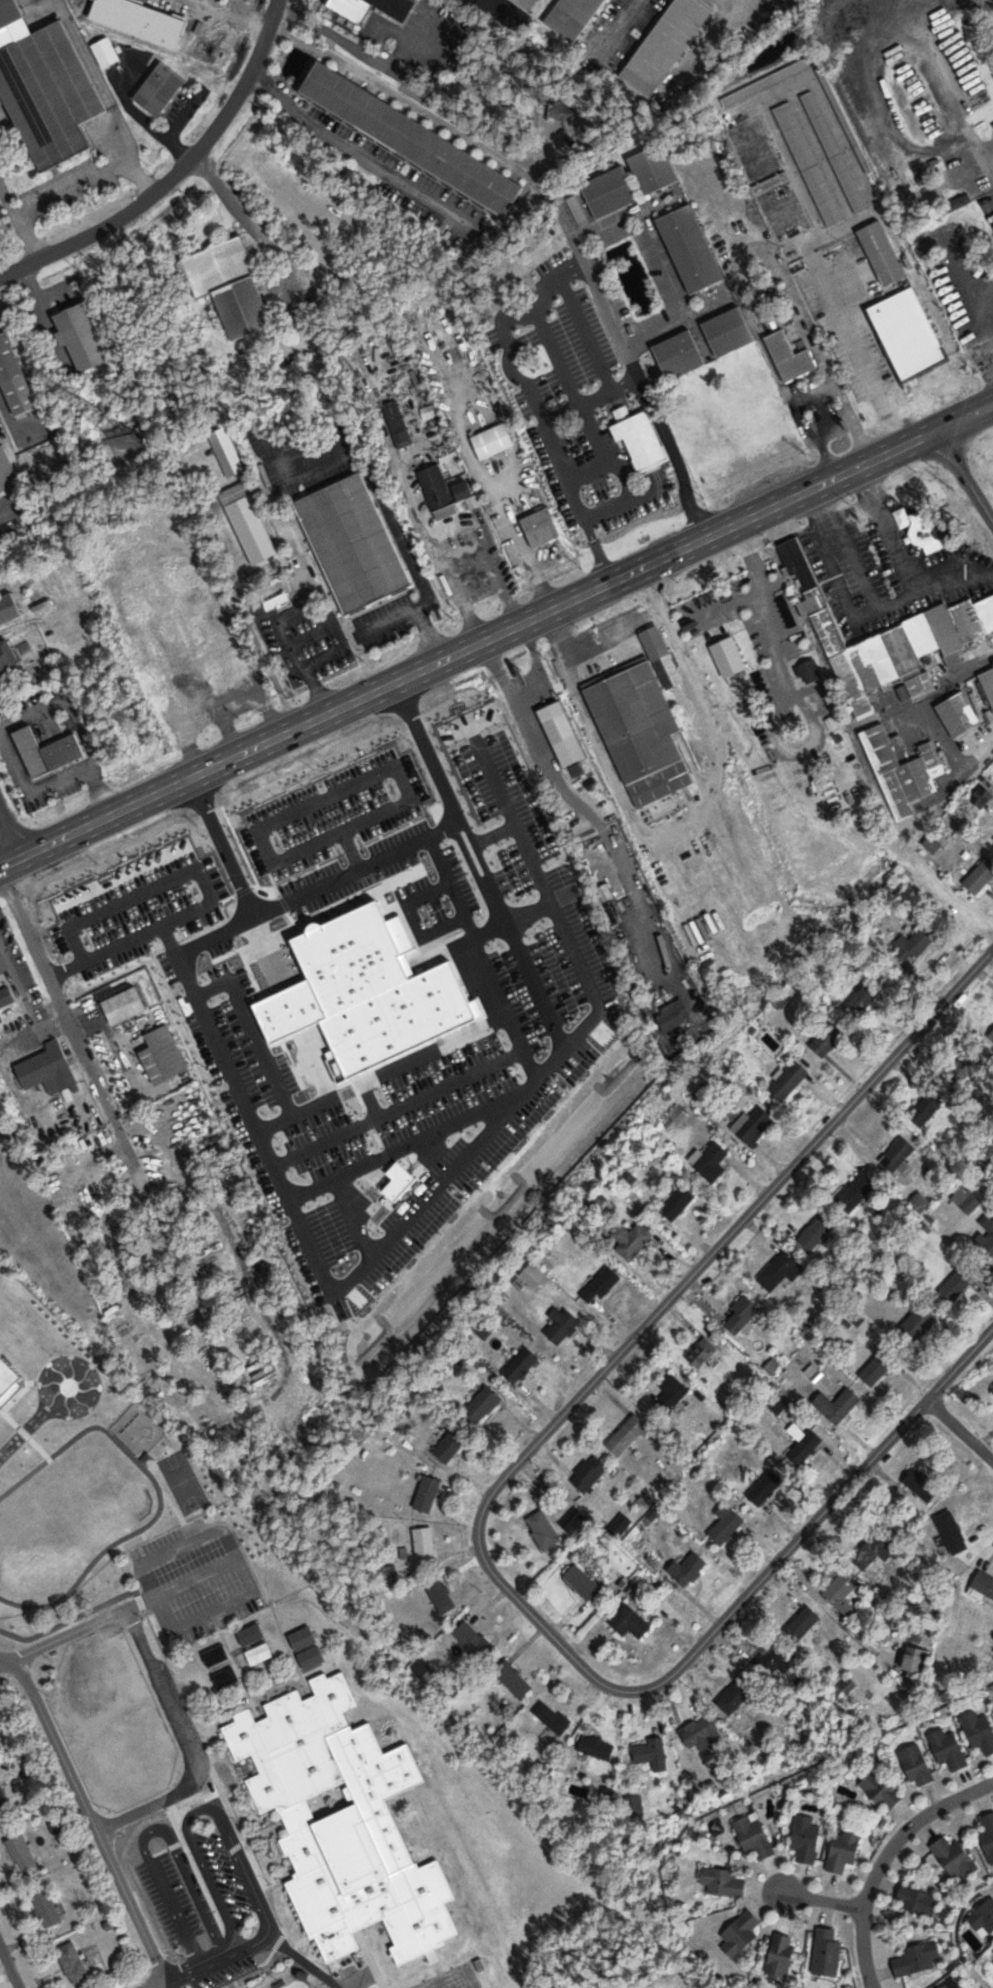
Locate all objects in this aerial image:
building: (522, 3)
building: (530, 3)
building: (349, 11)
building: (11, 12)
building: (569, 16)
building: (663, 44)
building: (765, 81)
building: (155, 88)
building: (53, 92)
building: (842, 118)
building: (407, 138)
road: (352, 151)
building: (832, 151)
building: (806, 162)
building: (650, 168)
road: (174, 174)
building: (607, 191)
road: (627, 216)
building: (686, 249)
building: (883, 253)
road: (778, 264)
building: (231, 285)
road: (675, 306)
building: (725, 331)
road: (585, 334)
building: (908, 335)
building: (81, 338)
road: (855, 349)
building: (675, 354)
building: (786, 355)
building: (453, 356)
road: (636, 370)
road: (514, 372)
building: (14, 378)
road: (577, 404)
road: (794, 407)
road: (826, 422)
building: (398, 424)
building: (556, 432)
building: (635, 440)
building: (493, 441)
building: (226, 452)
road: (828, 459)
building: (7, 470)
road: (589, 473)
road: (963, 475)
building: (464, 491)
building: (438, 492)
building: (585, 496)
road: (377, 499)
road: (581, 513)
road: (856, 516)
building: (245, 522)
building: (541, 527)
road: (890, 528)
building: (349, 541)
building: (118, 546)
road: (596, 551)
road: (855, 560)
building: (70, 571)
building: (29, 581)
building: (189, 594)
building: (153, 596)
building: (9, 610)
building: (779, 611)
road: (283, 614)
road: (859, 618)
building: (211, 619)
road: (428, 635)
road: (496, 635)
building: (886, 639)
building: (174, 642)
road: (592, 647)
building: (725, 648)
building: (7, 655)
building: (810, 671)
building: (197, 681)
building: (986, 685)
road: (927, 703)
building: (959, 714)
building: (640, 723)
building: (558, 732)
building: (42, 749)
building: (898, 771)
road: (613, 773)
road: (965, 778)
building: (985, 795)
road: (7, 839)
building: (980, 877)
building: (84, 907)
building: (916, 945)
building: (5, 997)
building: (864, 1000)
building: (126, 1002)
building: (673, 1015)
road: (70, 1031)
building: (992, 1034)
building: (828, 1039)
building: (169, 1051)
building: (47, 1068)
building: (790, 1080)
building: (704, 1093)
building: (927, 1108)
building: (754, 1125)
building: (899, 1154)
building: (712, 1162)
building: (858, 1191)
building: (967, 1198)
building: (677, 1202)
building: (817, 1232)
building: (632, 1238)
building: (989, 1239)
building: (781, 1271)
building: (535, 1277)
building: (601, 1284)
building: (957, 1284)
building: (742, 1313)
building: (922, 1321)
building: (562, 1324)
building: (702, 1352)
building: (521, 1365)
building: (880, 1367)
building: (10, 1375)
building: (672, 1394)
building: (483, 1404)
building: (838, 1405)
road: (247, 1406)
road: (958, 1432)
building: (628, 1436)
building: (451, 1445)
building: (804, 1445)
building: (590, 1474)
building: (145, 1475)
building: (922, 1485)
building: (766, 1488)
building: (427, 1494)
building: (135, 1500)
building: (160, 1515)
road: (480, 1516)
building: (578, 1523)
building: (131, 1525)
building: (727, 1526)
building: (544, 1530)
building: (953, 1532)
building: (425, 1545)
building: (876, 1551)
building: (689, 1569)
building: (583, 1583)
building: (983, 1585)
building: (842, 1595)
building: (441, 1596)
building: (630, 1622)
building: (804, 1623)
road: (83, 1626)
building: (252, 1634)
building: (473, 1640)
building: (308, 1647)
building: (260, 1653)
building: (916, 1660)
building: (776, 1661)
road: (6, 1662)
building: (514, 1679)
building: (736, 1695)
road: (166, 1699)
building: (552, 1717)
building: (979, 1731)
building: (702, 1732)
building: (597, 1748)
building: (949, 1750)
building: (651, 1754)
building: (917, 1766)
building: (882, 1791)
building: (4, 1800)
building: (635, 1804)
road: (87, 1814)
building: (345, 1823)
building: (988, 1835)
building: (755, 1836)
building: (806, 1839)
building: (844, 1849)
building: (21, 1851)
road: (884, 1858)
building: (955, 1858)
building: (722, 1881)
building: (918, 1899)
road: (822, 1901)
building: (46, 1908)
road: (264, 1914)
building: (984, 1918)
building: (741, 1933)
building: (826, 1952)
building: (782, 1954)
building: (992, 1957)
building: (918, 1958)
road: (300, 1959)
building: (73, 1962)
road: (8, 1969)
park: (297, 1984)
building: (953, 1984)
road: (150, 1985)

